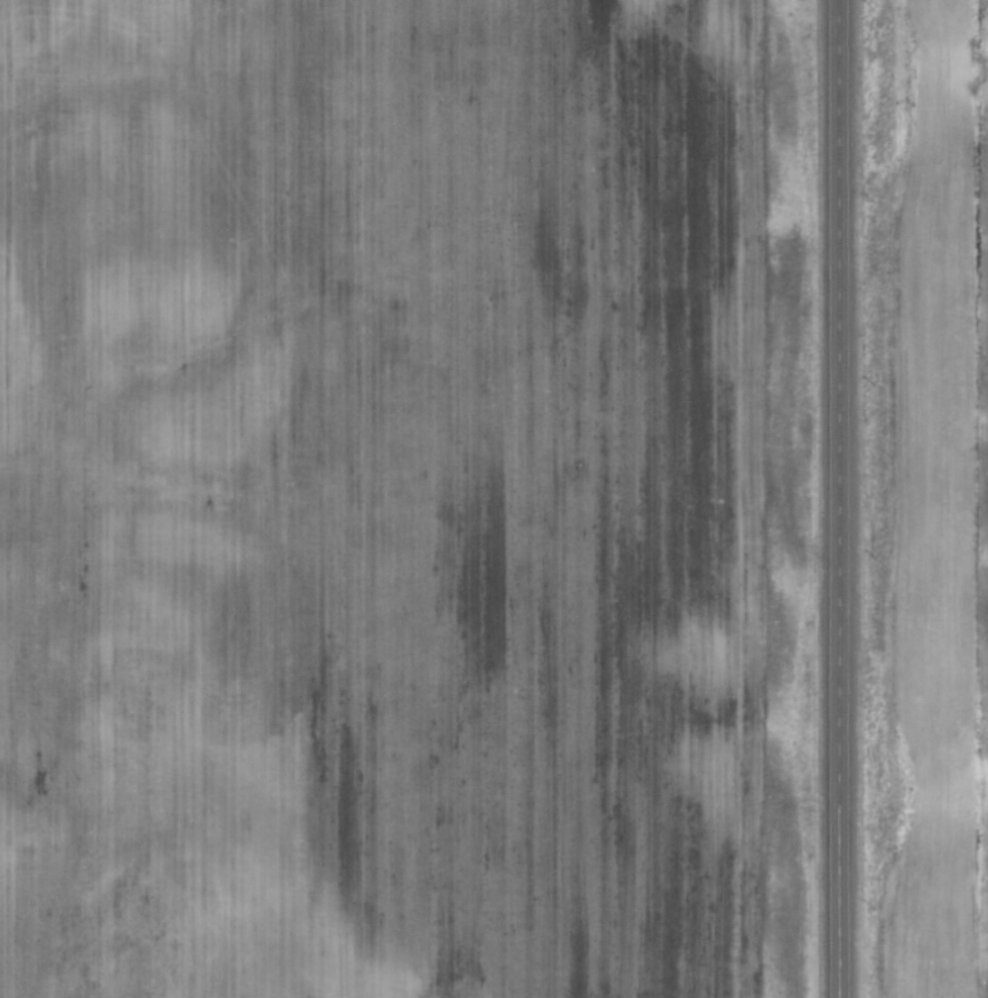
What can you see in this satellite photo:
road: (842, 499)

